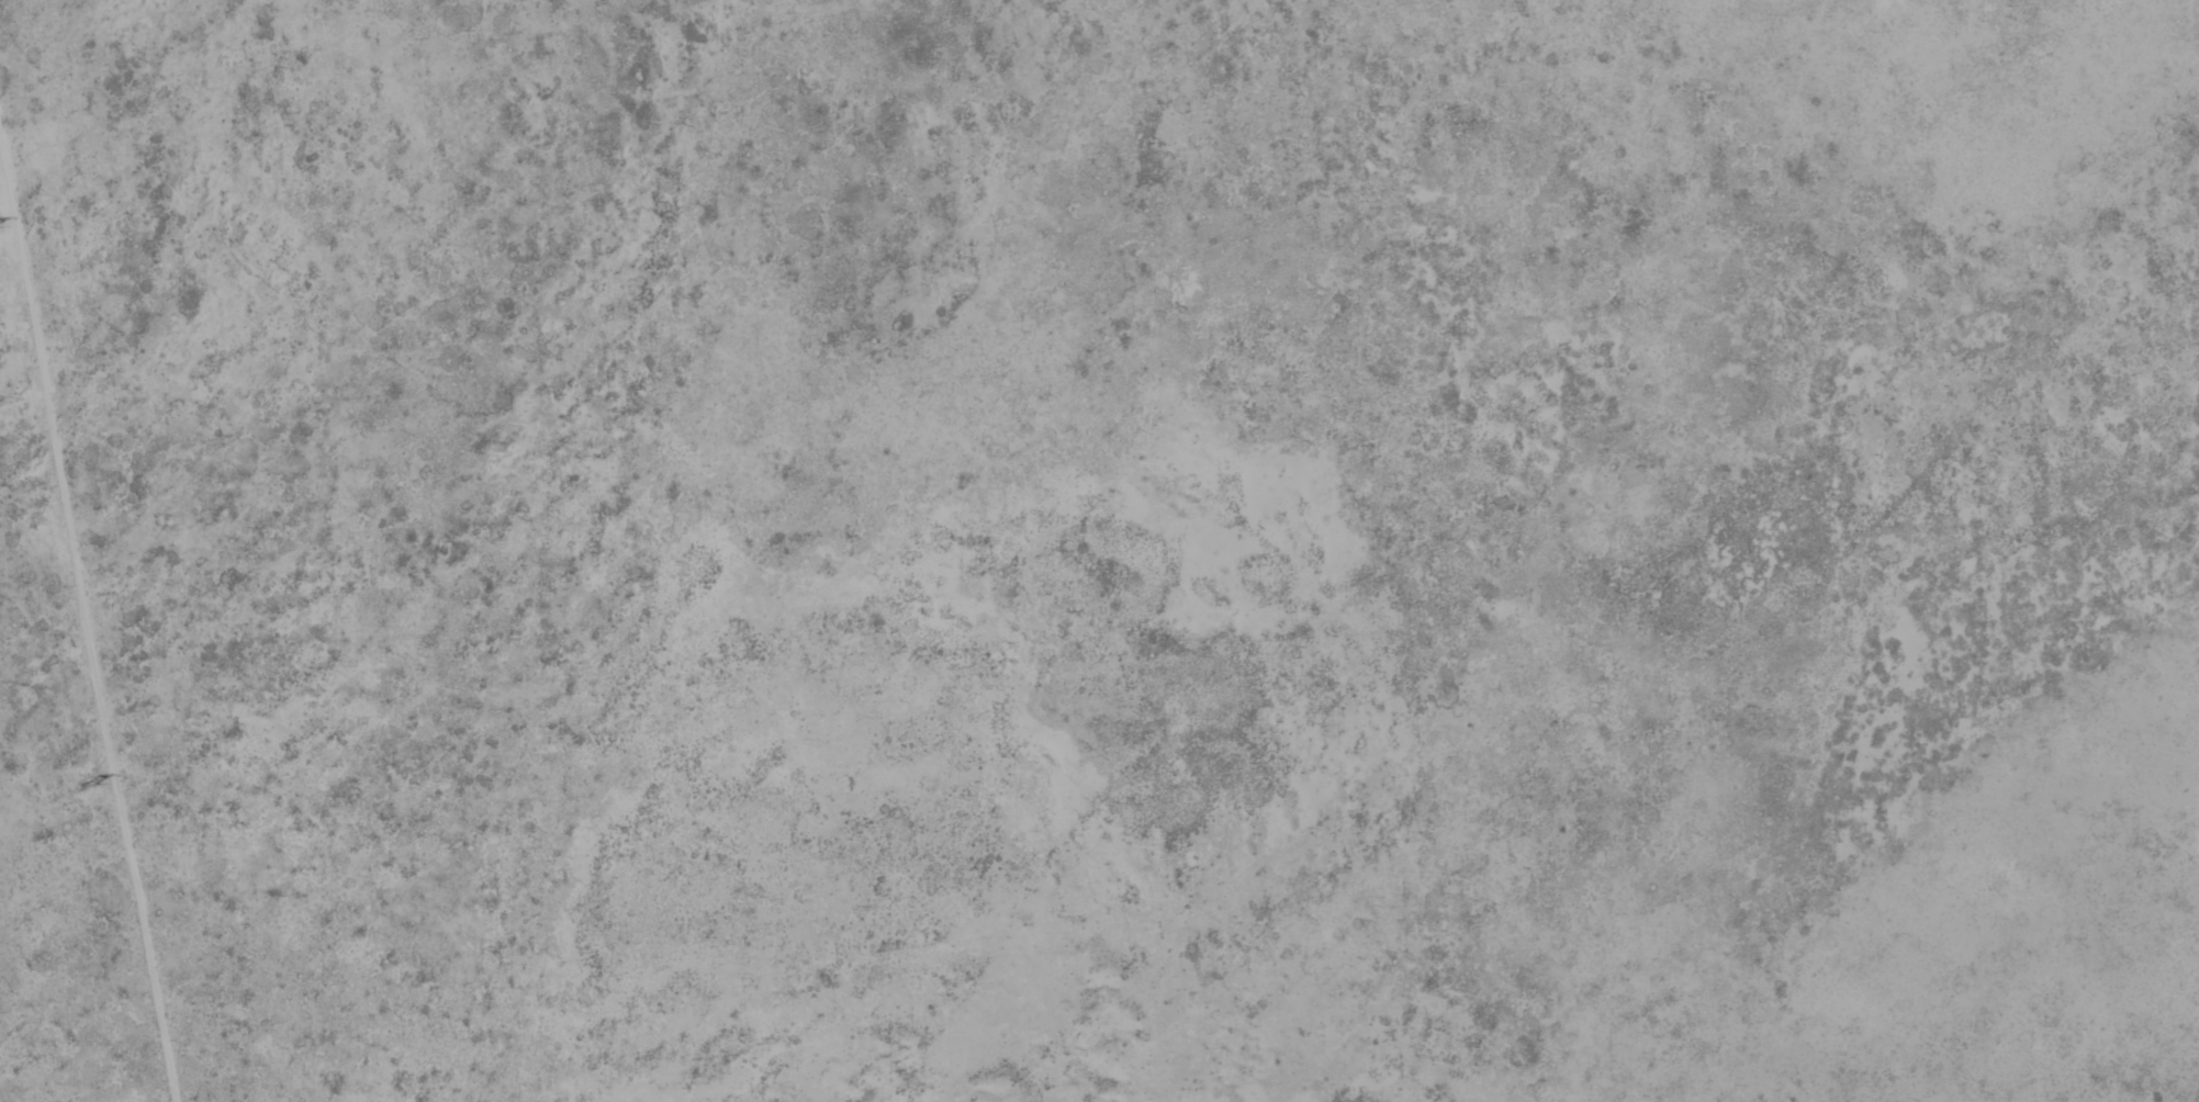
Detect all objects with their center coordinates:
road: (135, 551)
power tower: (89, 788)

